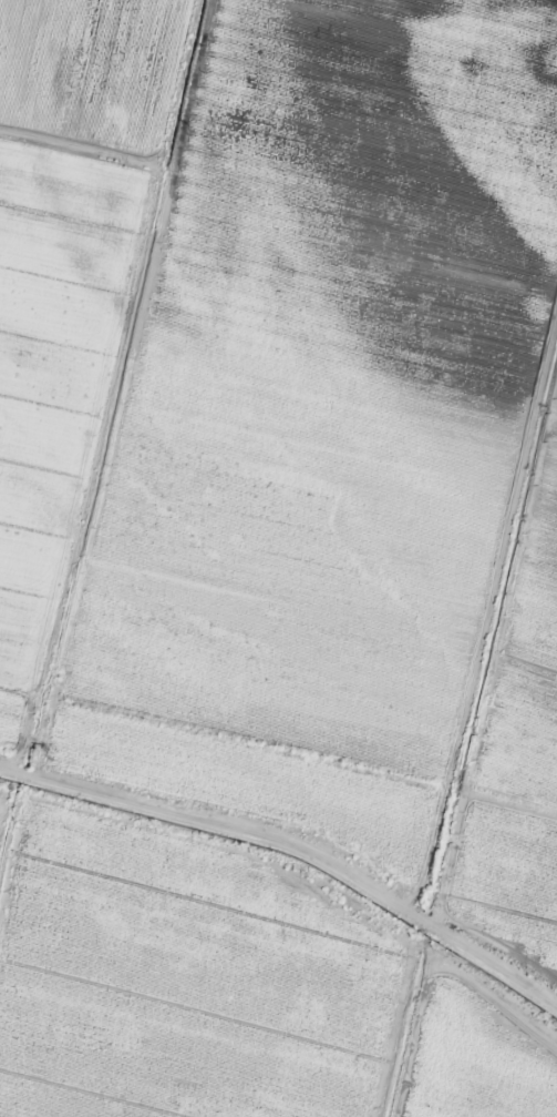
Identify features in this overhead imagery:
road: (298, 853)

